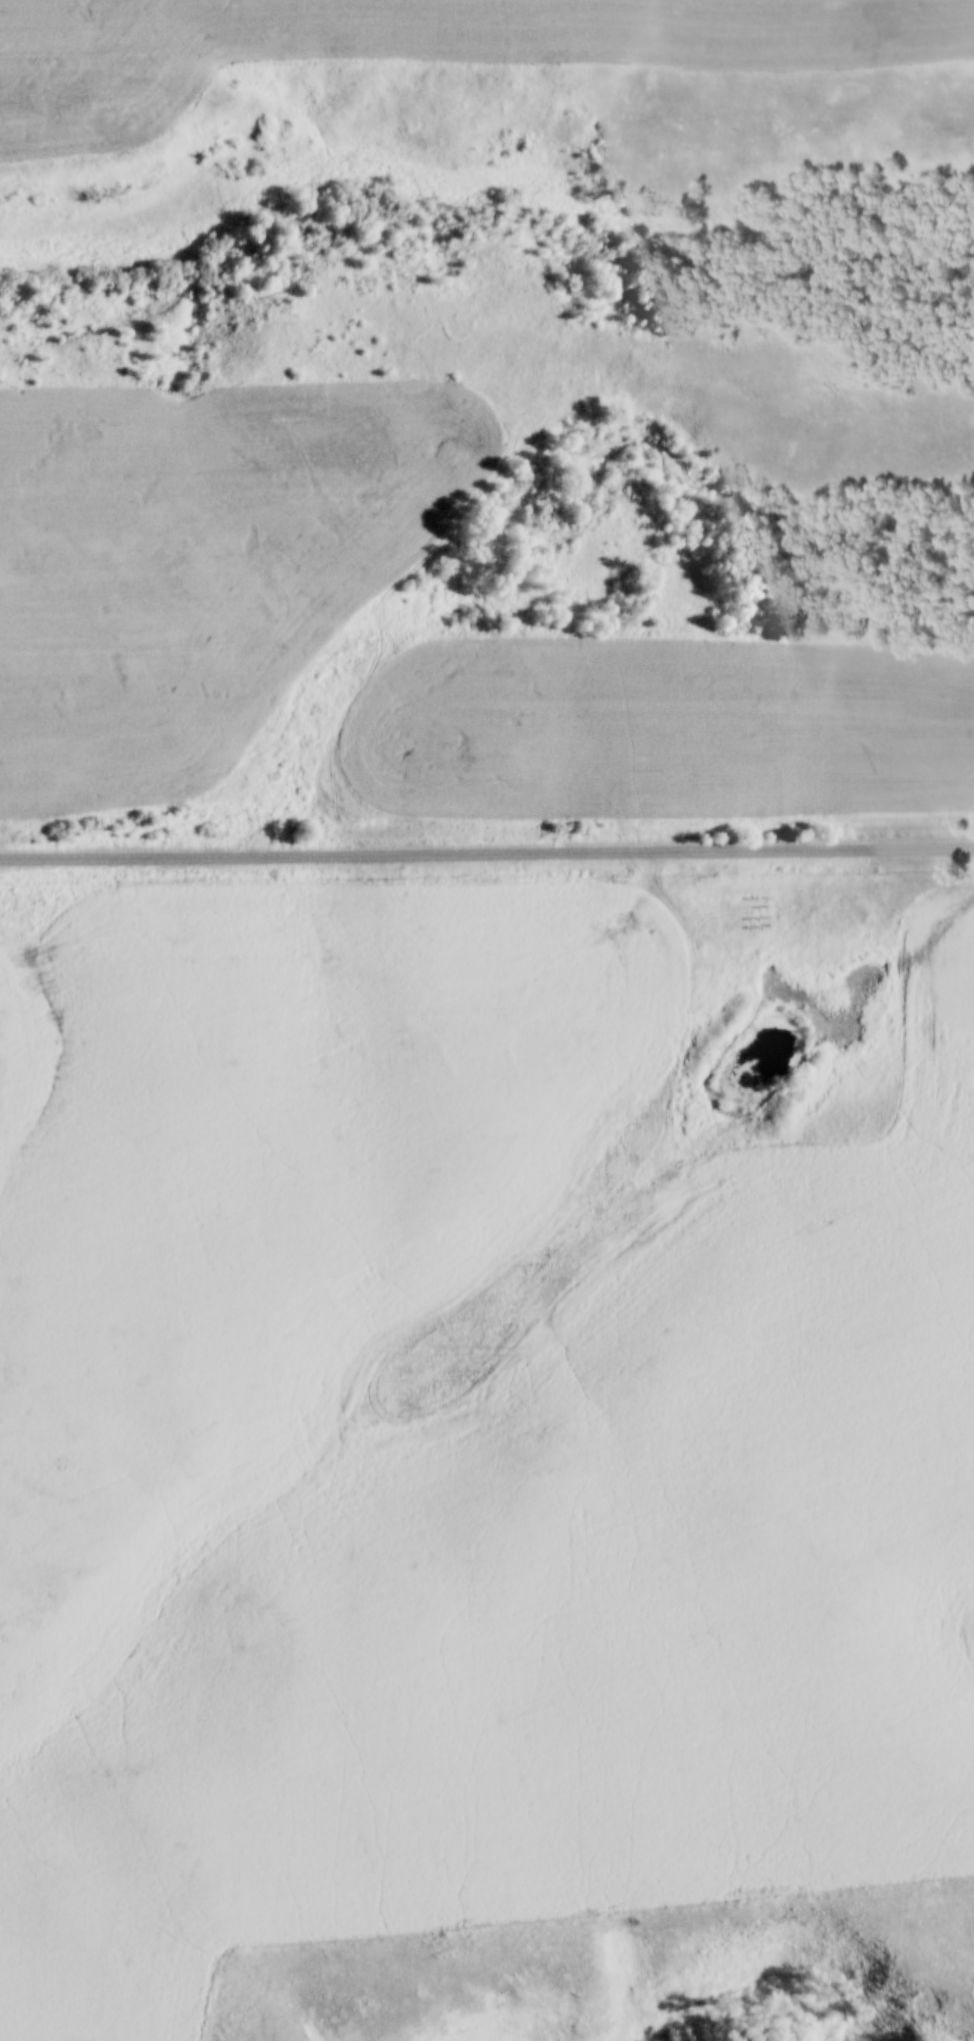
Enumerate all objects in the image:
road: (487, 855)

